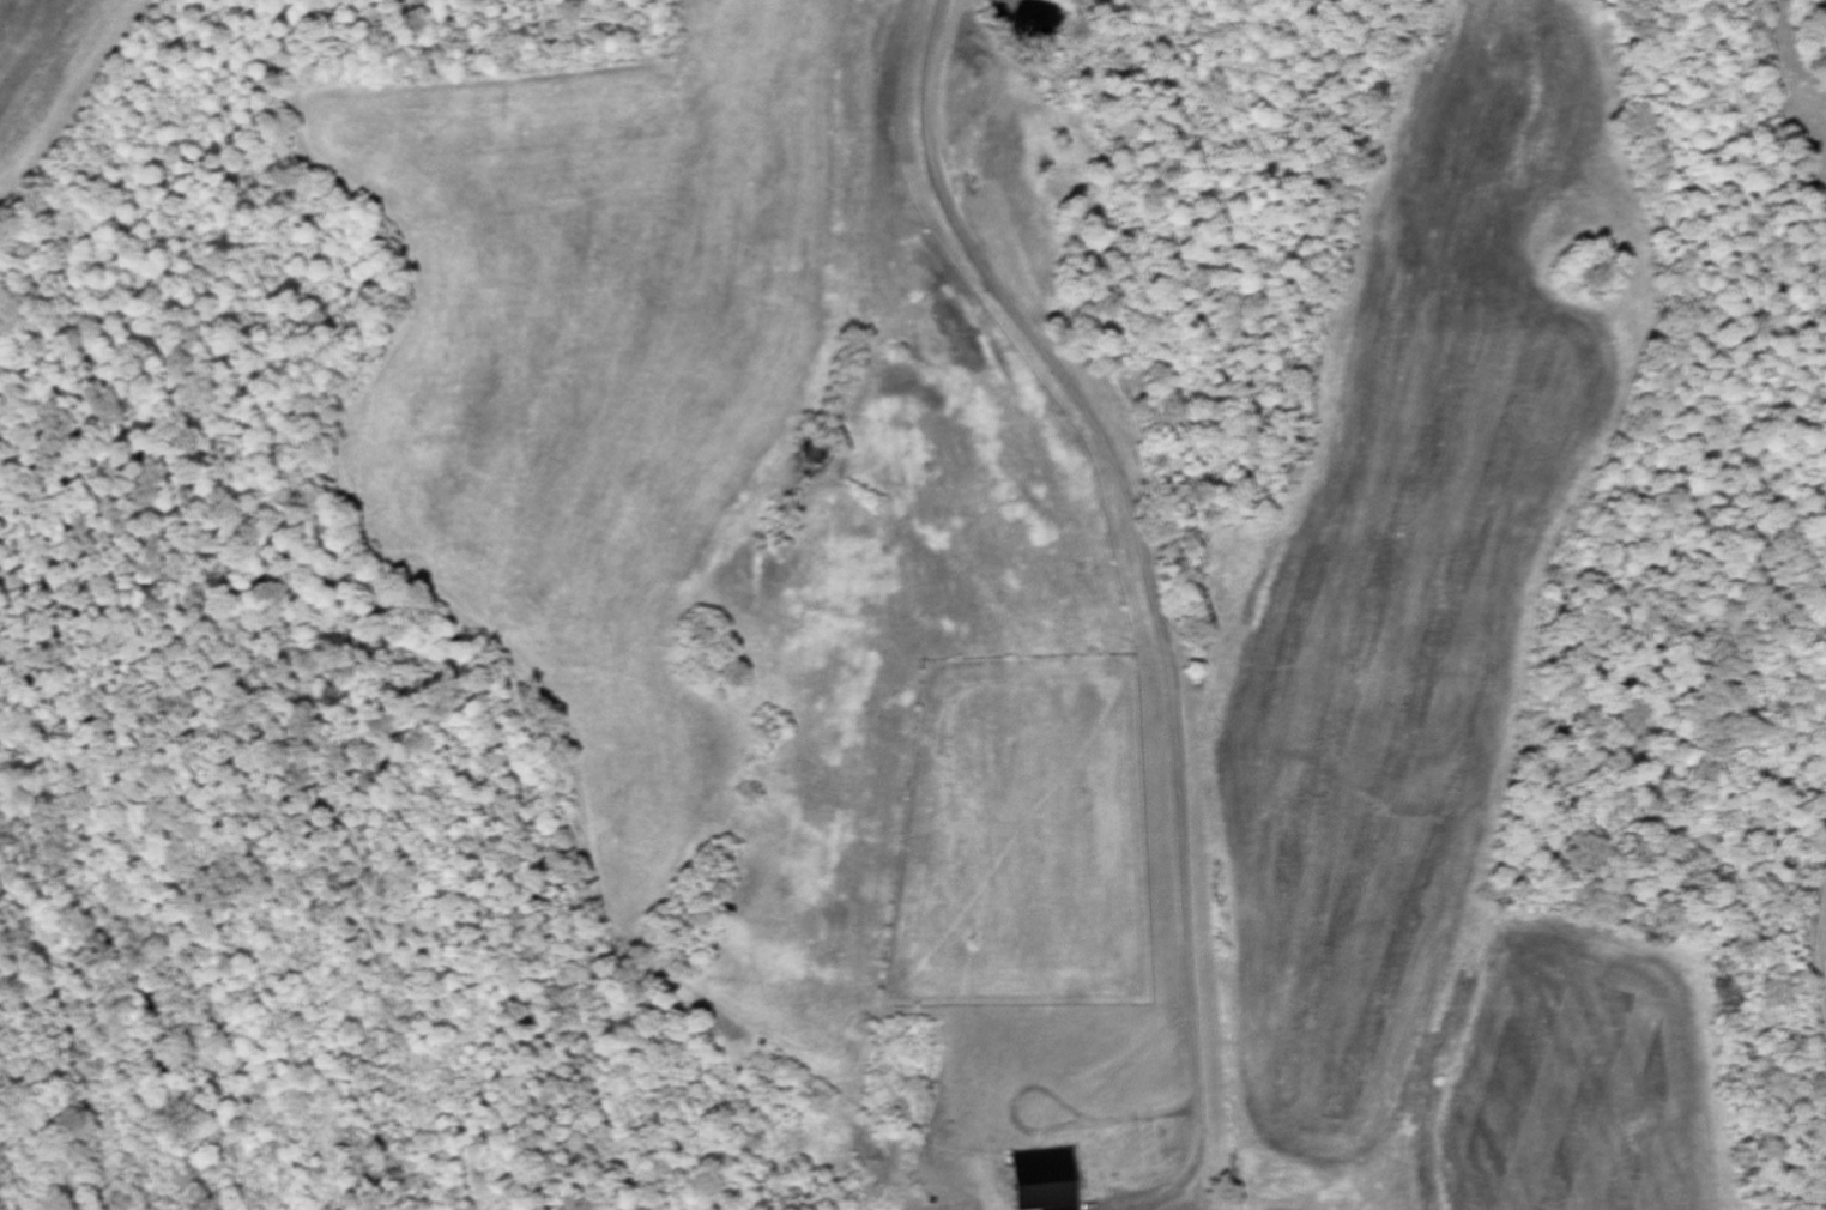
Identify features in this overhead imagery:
building: (1042, 1180)

